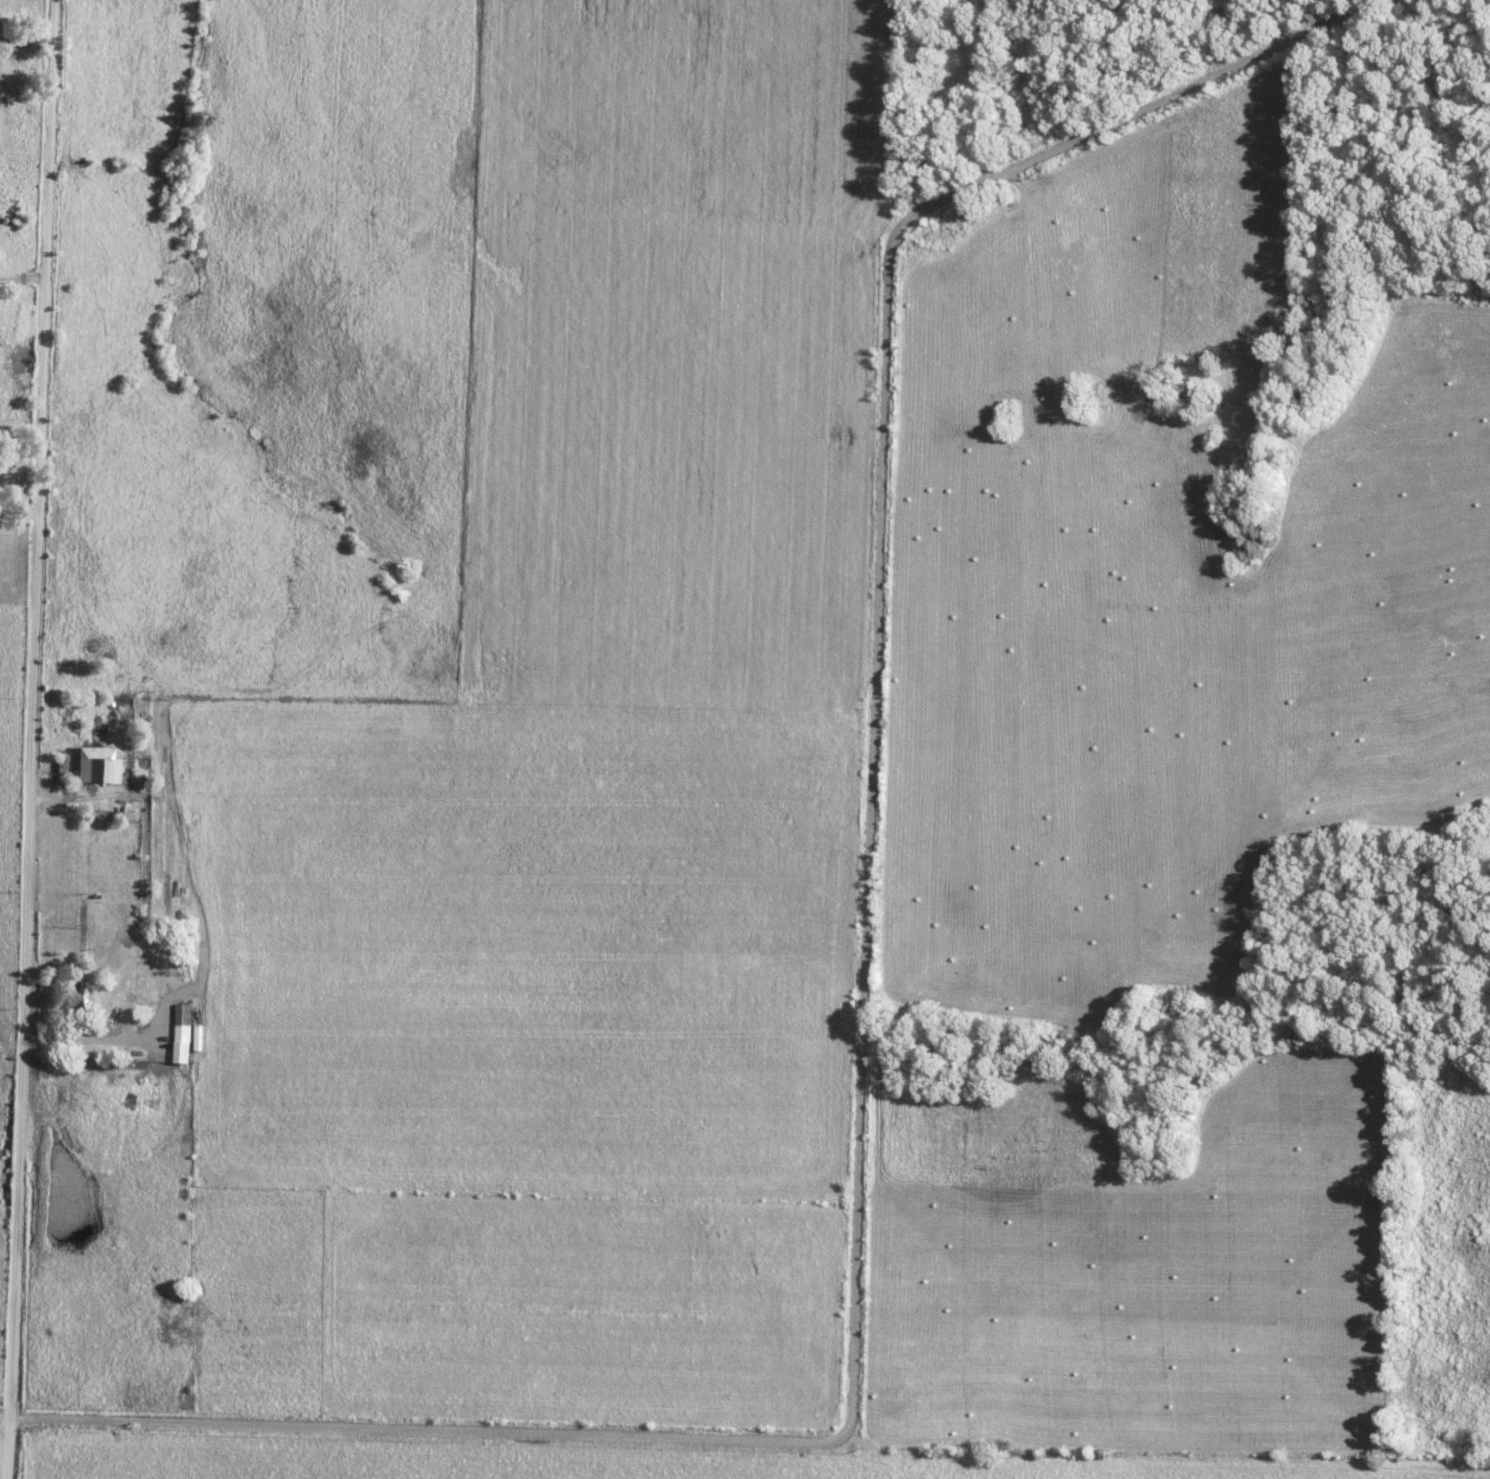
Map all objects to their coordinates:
road: (21, 505)
road: (34, 739)
building: (99, 765)
road: (866, 987)
building: (84, 998)
building: (133, 1028)
building: (186, 1032)

